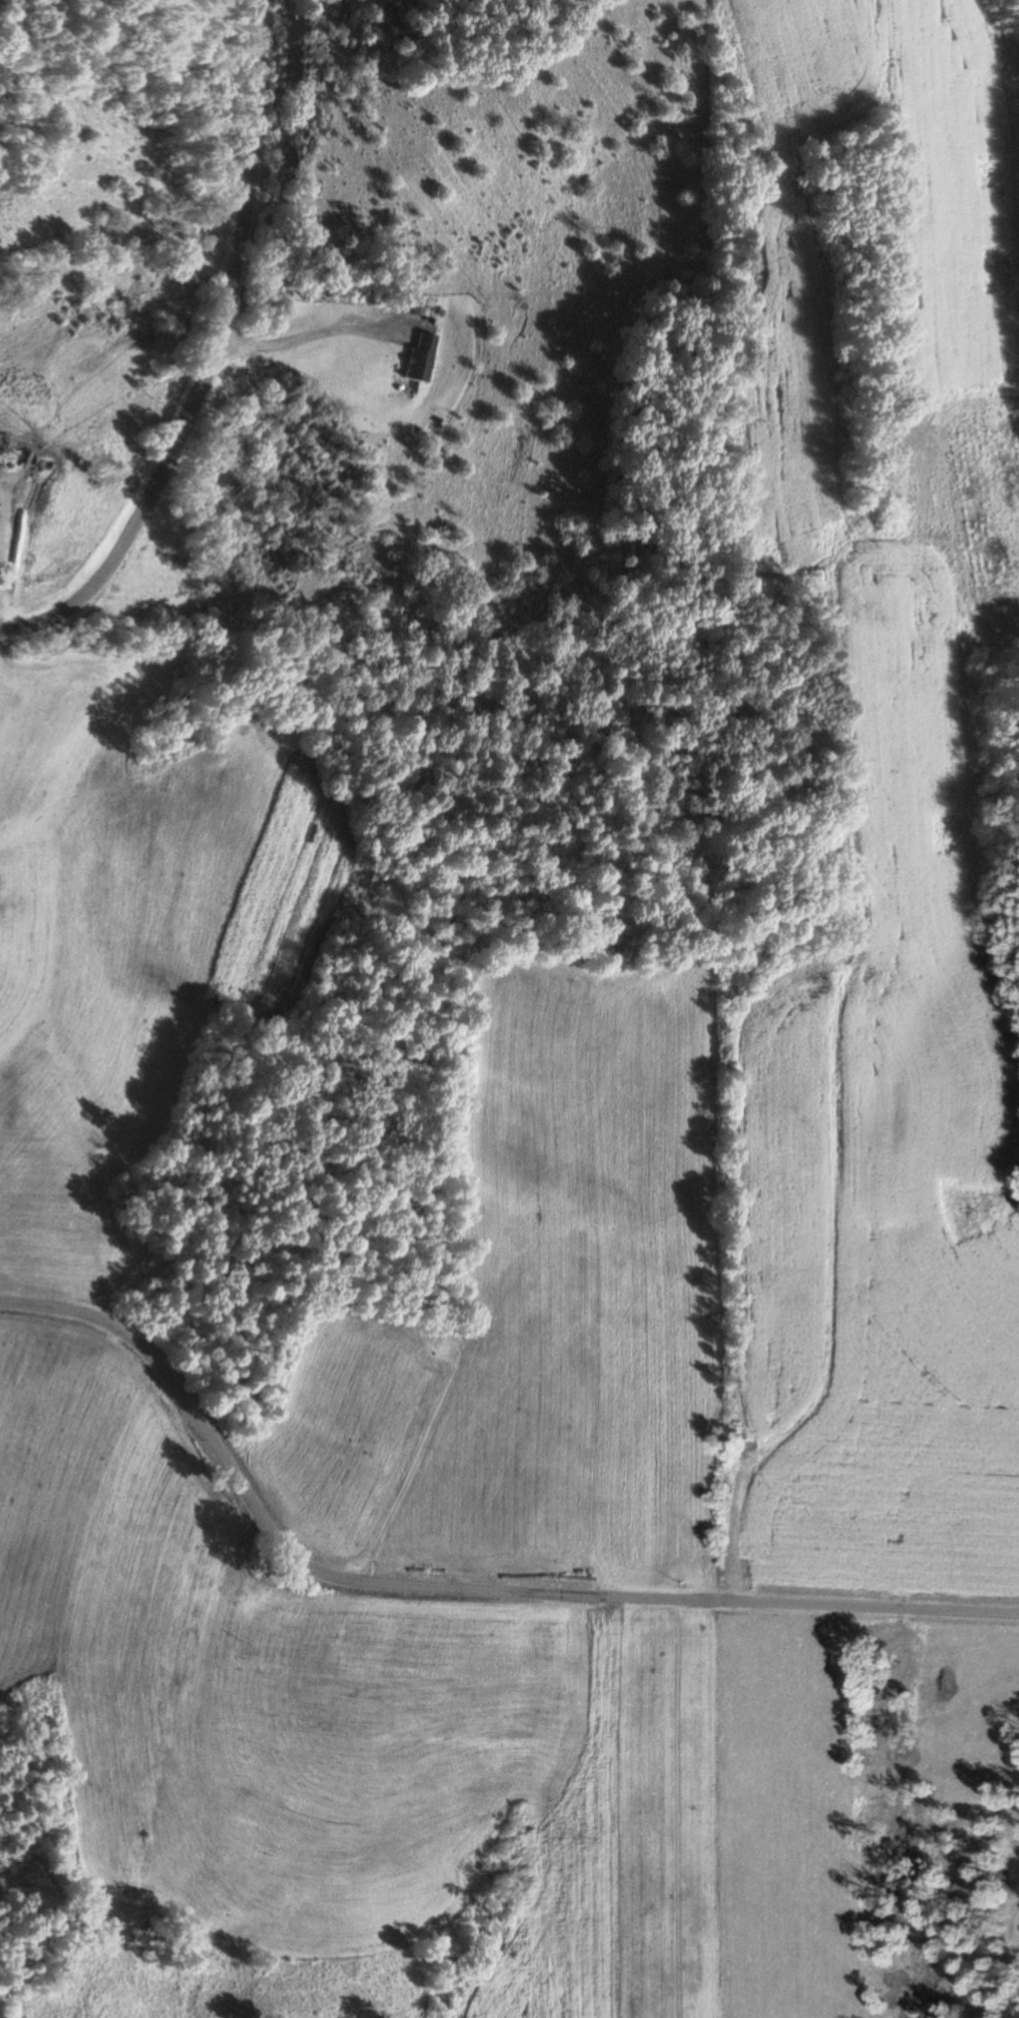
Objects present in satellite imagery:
road: (295, 344)
road: (206, 354)
building: (424, 358)
road: (450, 1589)

